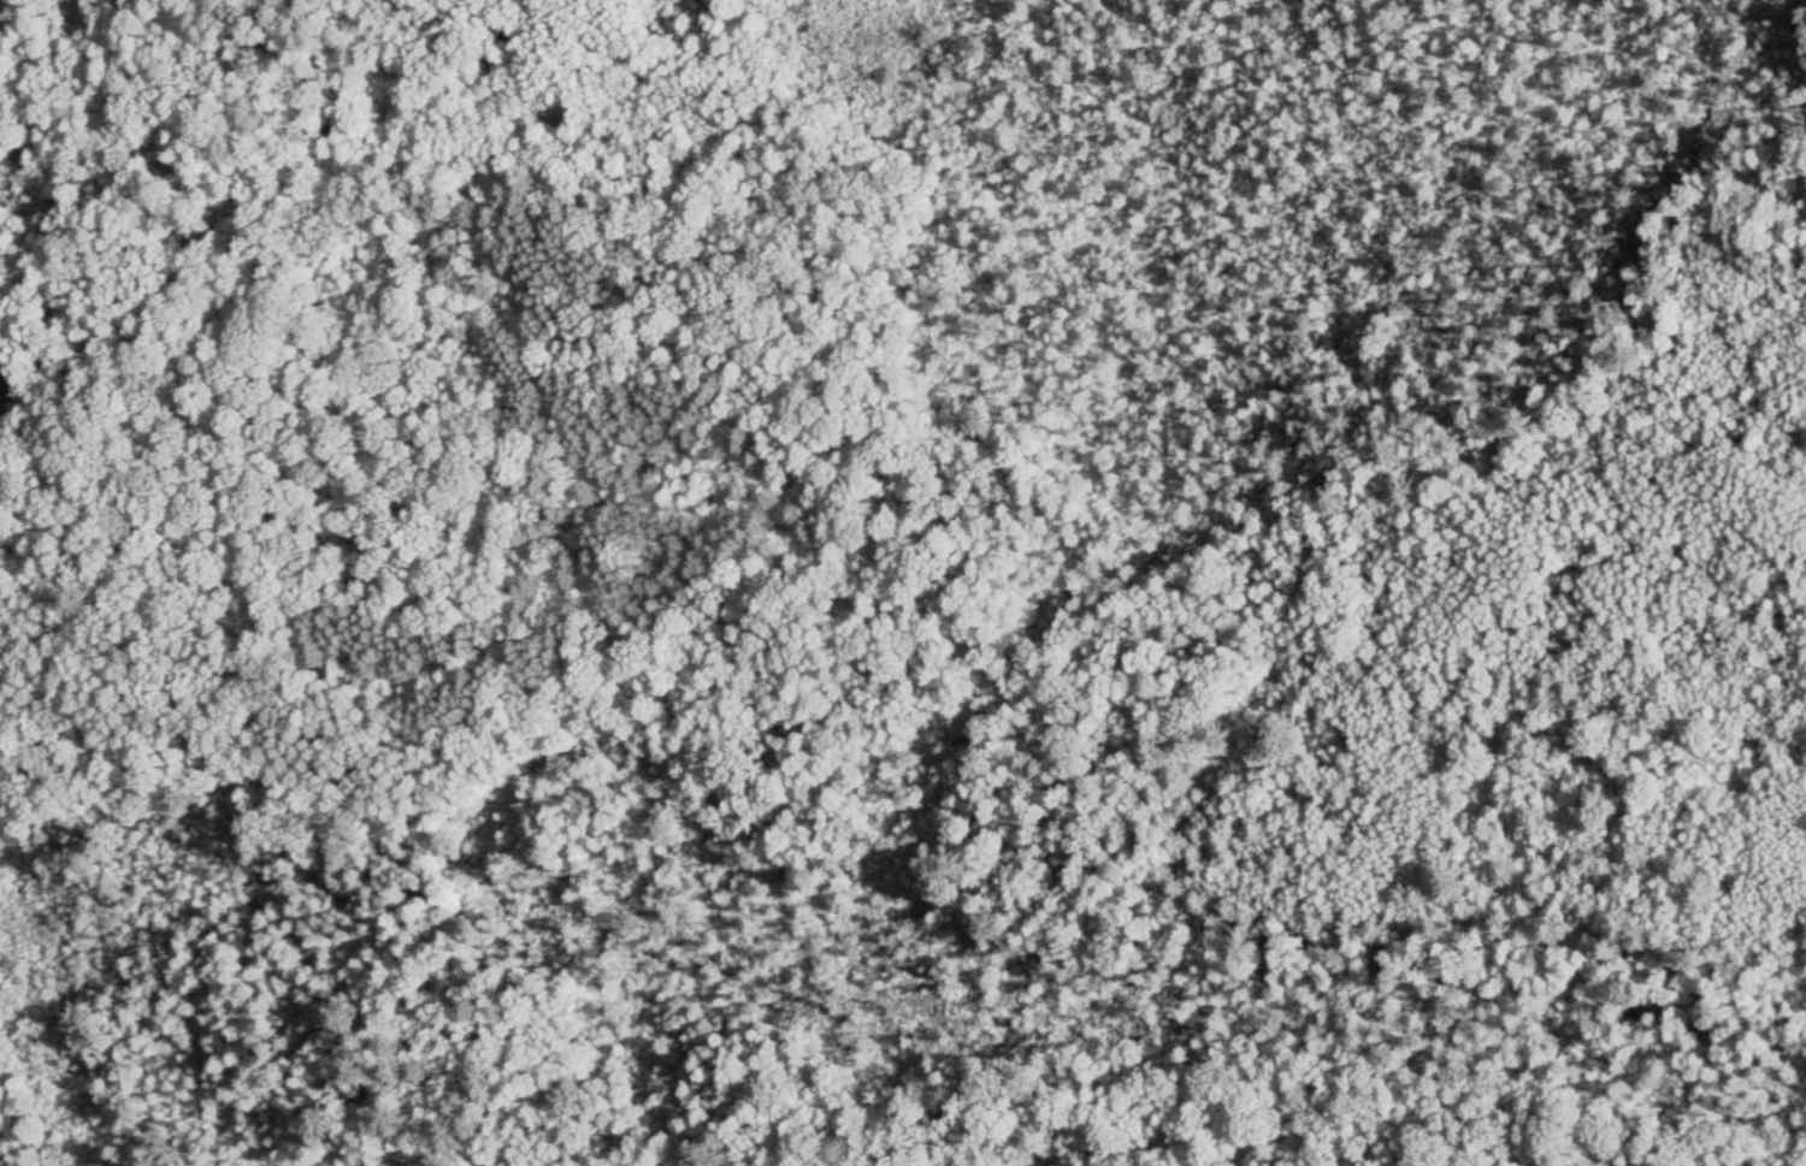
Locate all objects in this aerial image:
building: (0, 4)

